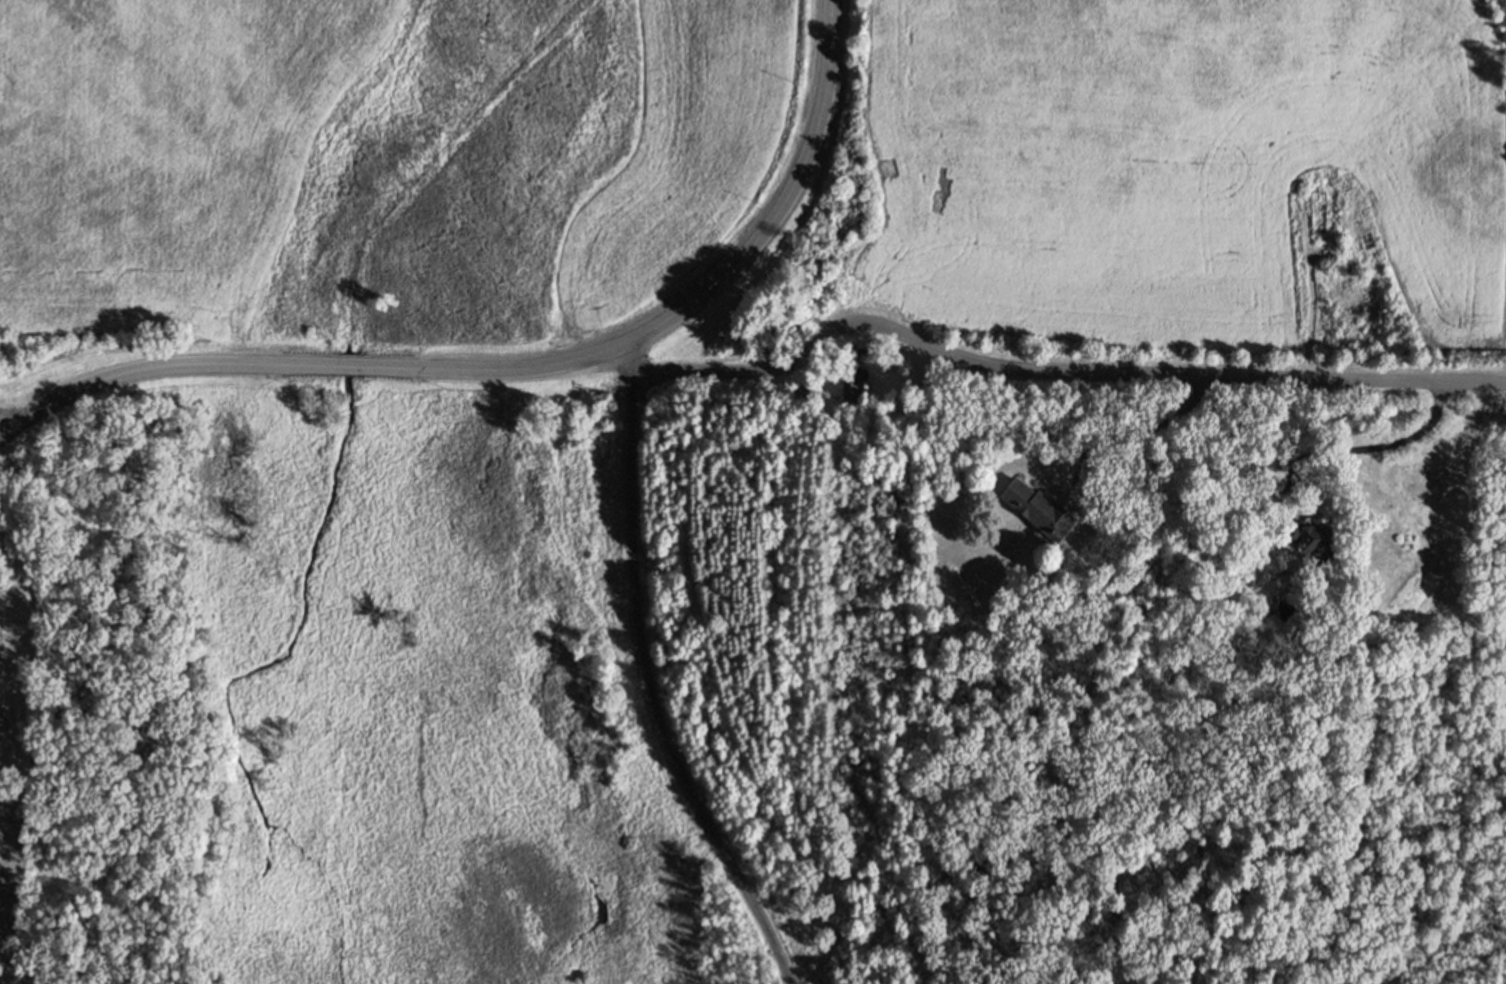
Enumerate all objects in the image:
road: (520, 370)
road: (1047, 371)
building: (852, 374)
road: (0, 431)
road: (1128, 436)
road: (1358, 449)
building: (1251, 465)
building: (1038, 508)
building: (1310, 533)
road: (651, 689)

